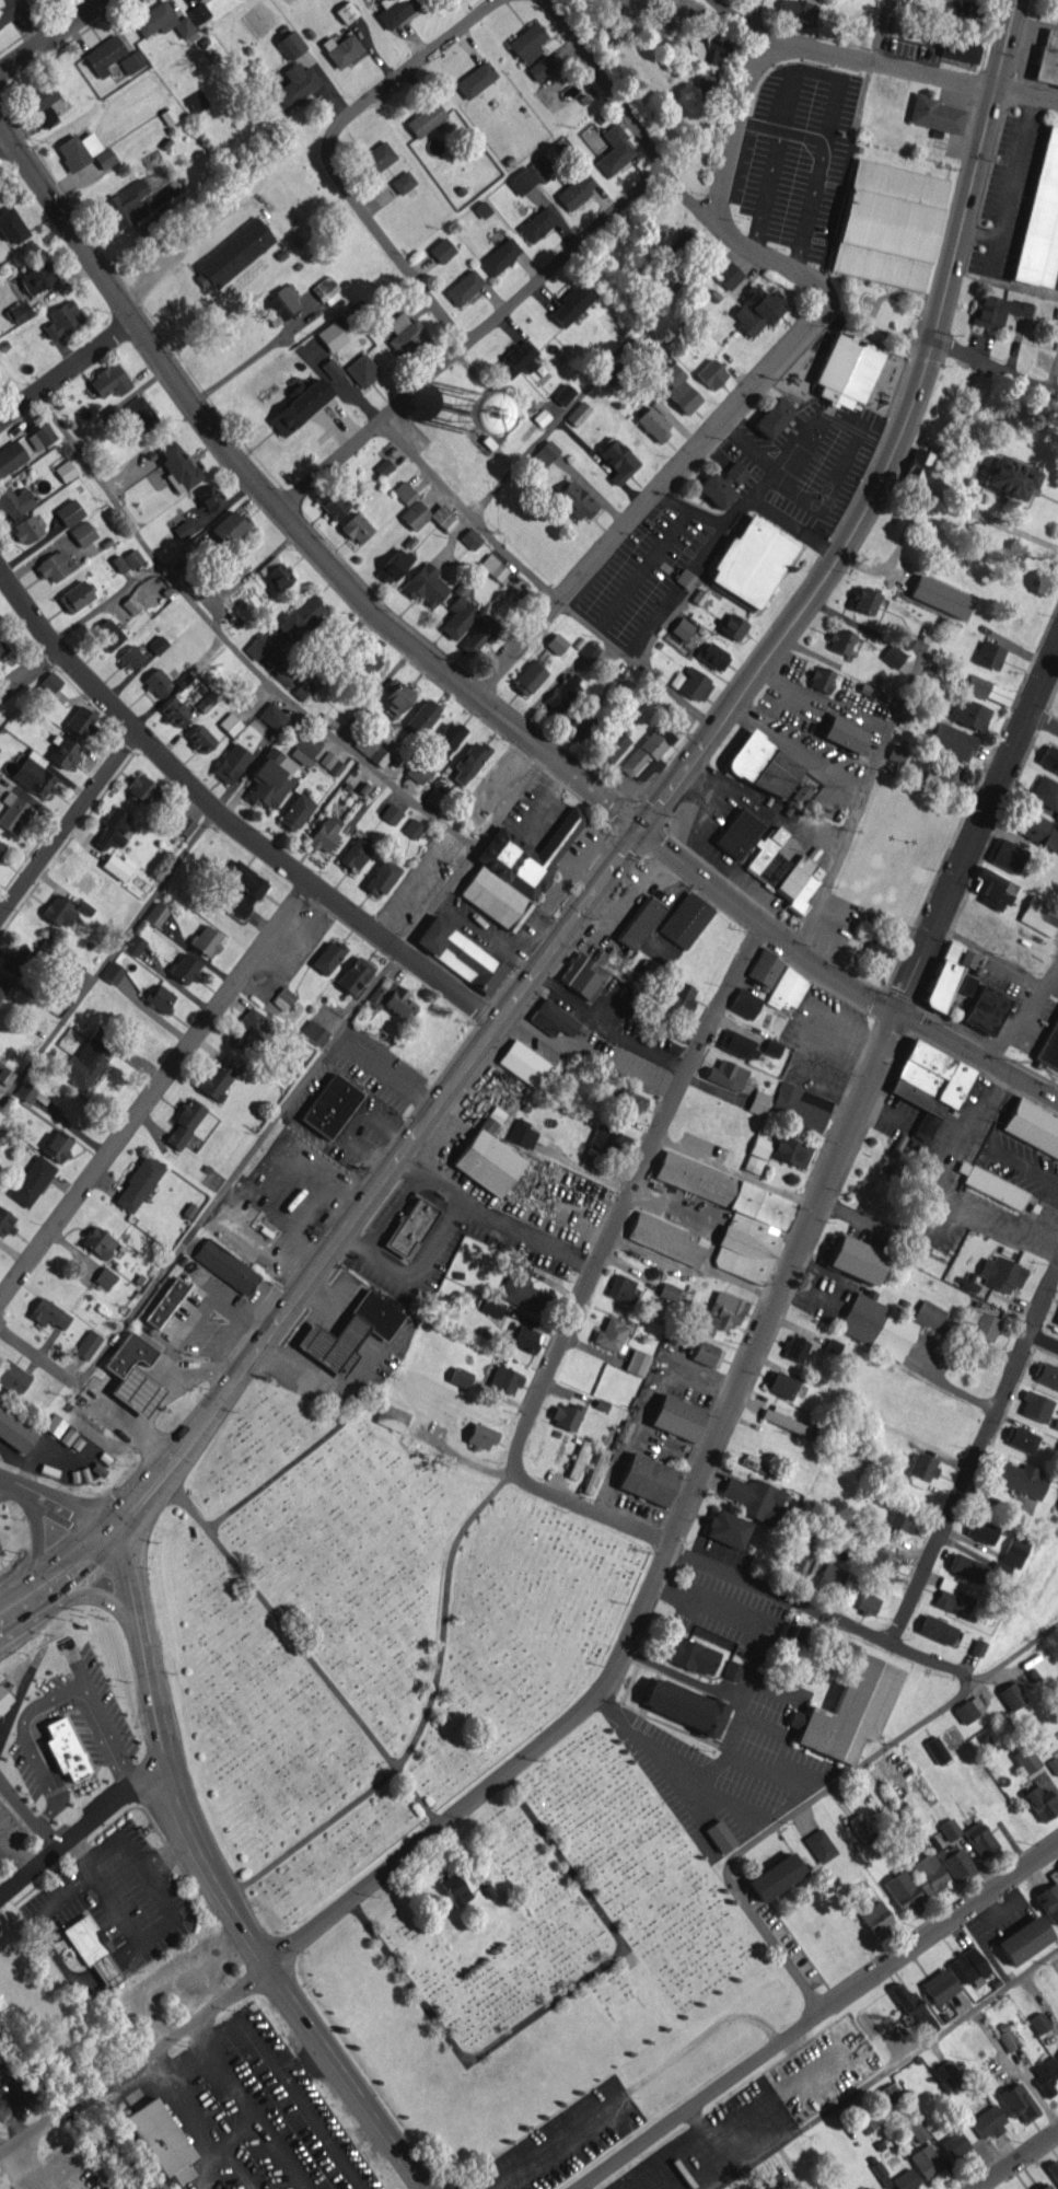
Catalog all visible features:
building: (11, 9)
building: (969, 9)
building: (346, 11)
building: (395, 11)
building: (798, 11)
building: (198, 12)
road: (732, 14)
building: (161, 20)
building: (865, 24)
road: (879, 28)
road: (49, 34)
building: (526, 43)
building: (290, 44)
building: (341, 49)
building: (960, 49)
building: (708, 50)
building: (104, 55)
building: (1047, 58)
building: (131, 61)
road: (905, 66)
building: (540, 67)
building: (475, 79)
building: (705, 82)
building: (297, 84)
building: (43, 95)
road: (733, 109)
building: (935, 113)
building: (48, 117)
building: (425, 118)
road: (755, 124)
road: (2, 135)
road: (806, 136)
building: (78, 149)
building: (615, 149)
road: (323, 152)
building: (104, 158)
building: (376, 158)
road: (666, 167)
building: (531, 174)
building: (403, 182)
building: (577, 187)
building: (124, 206)
building: (1040, 219)
building: (537, 223)
building: (888, 224)
building: (12, 225)
building: (683, 243)
road: (177, 250)
building: (441, 250)
building: (233, 253)
building: (500, 255)
building: (724, 271)
building: (37, 278)
building: (464, 287)
building: (324, 288)
building: (571, 303)
building: (279, 305)
building: (756, 309)
building: (996, 310)
building: (20, 312)
building: (62, 320)
building: (404, 333)
building: (330, 336)
road: (472, 337)
building: (519, 359)
building: (656, 360)
building: (332, 367)
road: (993, 367)
road: (1053, 369)
building: (361, 370)
building: (846, 370)
road: (66, 371)
building: (711, 373)
road: (597, 374)
building: (109, 380)
building: (678, 389)
building: (563, 393)
building: (300, 406)
building: (468, 412)
building: (139, 413)
building: (578, 413)
building: (772, 417)
building: (653, 419)
building: (40, 436)
road: (893, 443)
building: (545, 453)
building: (10, 456)
building: (617, 460)
building: (178, 465)
building: (383, 466)
building: (65, 471)
building: (1010, 477)
building: (721, 484)
building: (404, 491)
building: (209, 497)
road: (653, 498)
building: (573, 500)
building: (14, 501)
building: (330, 501)
building: (69, 511)
road: (465, 512)
building: (415, 514)
building: (229, 526)
building: (354, 528)
building: (26, 529)
building: (183, 529)
building: (82, 533)
building: (469, 537)
building: (132, 557)
building: (751, 561)
building: (119, 563)
building: (393, 565)
building: (51, 566)
building: (493, 566)
building: (277, 576)
building: (426, 584)
building: (197, 587)
building: (940, 595)
building: (74, 597)
building: (864, 600)
building: (456, 616)
road: (391, 625)
building: (732, 626)
building: (287, 627)
building: (682, 628)
building: (107, 634)
building: (480, 634)
building: (840, 640)
building: (556, 642)
building: (158, 645)
road: (232, 646)
building: (2, 647)
building: (988, 655)
building: (713, 656)
building: (893, 656)
building: (129, 658)
road: (640, 661)
building: (364, 663)
road: (32, 670)
building: (528, 677)
building: (821, 677)
building: (158, 681)
building: (50, 682)
building: (691, 683)
building: (980, 686)
building: (300, 692)
building: (562, 695)
building: (395, 697)
building: (207, 700)
road: (821, 700)
building: (174, 711)
building: (968, 713)
building: (272, 715)
building: (421, 717)
building: (81, 721)
building: (230, 723)
building: (583, 723)
road: (1040, 728)
building: (842, 732)
building: (446, 737)
building: (200, 738)
building: (952, 741)
building: (612, 745)
building: (374, 748)
road: (797, 748)
building: (304, 749)
building: (650, 749)
building: (63, 752)
building: (896, 752)
building: (1049, 757)
building: (468, 761)
building: (231, 763)
building: (330, 763)
building: (763, 765)
building: (418, 771)
building: (0, 773)
building: (34, 774)
building: (270, 778)
building: (951, 778)
building: (141, 787)
building: (1045, 791)
road: (860, 798)
road: (764, 807)
building: (295, 811)
building: (14, 812)
building: (391, 813)
building: (1056, 814)
road: (218, 819)
road: (67, 824)
building: (184, 824)
traffic signals: (638, 825)
road: (976, 826)
building: (113, 827)
building: (412, 827)
building: (1038, 830)
building: (737, 833)
building: (324, 834)
building: (1, 846)
building: (354, 854)
building: (1008, 855)
building: (117, 866)
building: (516, 869)
building: (784, 870)
building: (381, 877)
building: (244, 885)
building: (993, 888)
building: (60, 911)
building: (155, 913)
building: (1039, 915)
building: (685, 920)
building: (639, 922)
building: (206, 939)
building: (133, 943)
building: (874, 947)
road: (105, 953)
building: (460, 954)
building: (328, 955)
building: (966, 958)
building: (14, 961)
road: (1057, 961)
building: (765, 966)
building: (185, 968)
building: (70, 971)
building: (113, 972)
building: (354, 975)
building: (583, 975)
building: (946, 977)
building: (3, 985)
building: (787, 988)
building: (159, 997)
building: (282, 997)
building: (391, 997)
building: (678, 998)
building: (744, 1003)
building: (986, 1009)
road: (1020, 1010)
building: (553, 1018)
building: (245, 1028)
building: (314, 1032)
building: (737, 1044)
building: (1049, 1046)
building: (771, 1047)
building: (88, 1058)
road: (976, 1058)
building: (522, 1062)
building: (231, 1066)
road: (312, 1068)
building: (5, 1075)
building: (726, 1075)
building: (212, 1081)
building: (929, 1084)
building: (25, 1090)
road: (153, 1091)
building: (630, 1100)
building: (758, 1102)
building: (330, 1105)
building: (800, 1107)
building: (184, 1123)
building: (1033, 1125)
building: (522, 1133)
building: (609, 1137)
building: (57, 1145)
building: (790, 1150)
building: (756, 1154)
building: (488, 1162)
building: (894, 1171)
road: (372, 1173)
building: (32, 1180)
building: (138, 1183)
road: (941, 1185)
building: (991, 1185)
road: (625, 1194)
road: (391, 1211)
building: (734, 1214)
road: (689, 1215)
road: (498, 1221)
building: (5, 1223)
building: (411, 1226)
building: (666, 1238)
building: (98, 1241)
building: (854, 1258)
building: (225, 1265)
road: (688, 1269)
building: (1001, 1273)
building: (104, 1277)
building: (523, 1288)
building: (624, 1288)
building: (667, 1290)
building: (164, 1302)
building: (491, 1308)
building: (722, 1312)
building: (48, 1313)
building: (928, 1314)
building: (877, 1325)
building: (986, 1325)
building: (349, 1332)
building: (611, 1334)
building: (522, 1337)
road: (1043, 1337)
building: (86, 1344)
building: (833, 1345)
building: (795, 1347)
building: (704, 1352)
building: (637, 1362)
building: (1045, 1374)
building: (133, 1375)
building: (460, 1376)
building: (12, 1377)
building: (504, 1379)
building: (780, 1383)
road: (947, 1383)
road: (85, 1389)
building: (1035, 1405)
road: (647, 1406)
building: (566, 1414)
building: (392, 1416)
building: (676, 1416)
building: (782, 1418)
building: (55, 1425)
building: (15, 1432)
building: (479, 1436)
building: (1020, 1437)
road: (974, 1451)
building: (578, 1459)
building: (755, 1463)
building: (922, 1469)
building: (595, 1470)
road: (2, 1479)
building: (647, 1479)
building: (1022, 1479)
building: (754, 1497)
road: (56, 1501)
building: (1057, 1508)
road: (1009, 1509)
building: (898, 1522)
traffic signals: (113, 1526)
building: (726, 1528)
building: (981, 1530)
road: (662, 1549)
building: (1014, 1551)
road: (56, 1562)
building: (880, 1562)
building: (793, 1565)
building: (977, 1568)
building: (830, 1578)
road: (747, 1580)
building: (951, 1597)
building: (867, 1603)
building: (937, 1629)
building: (803, 1640)
building: (977, 1647)
road: (1019, 1653)
building: (690, 1655)
building: (732, 1670)
road: (681, 1676)
building: (1011, 1694)
building: (3, 1700)
road: (37, 1704)
building: (682, 1705)
building: (968, 1709)
building: (848, 1710)
road: (733, 1722)
building: (65, 1748)
building: (937, 1749)
building: (1024, 1759)
building: (1054, 1764)
park: (430, 1770)
building: (1040, 1800)
road: (783, 1825)
road: (82, 1827)
building: (861, 1828)
building: (949, 1828)
building: (719, 1835)
road: (1, 1839)
building: (980, 1839)
building: (819, 1844)
road: (14, 1850)
road: (165, 1851)
building: (956, 1863)
building: (1057, 1865)
building: (928, 1873)
building: (775, 1876)
road: (214, 1883)
building: (454, 1889)
building: (903, 1891)
building: (1049, 1901)
building: (876, 1919)
road: (160, 1921)
building: (1024, 1939)
building: (92, 1948)
building: (968, 1966)
building: (939, 1985)
building: (912, 2007)
road: (821, 2017)
building: (1038, 2023)
building: (1008, 2039)
building: (1057, 2054)
road: (135, 2059)
building: (0, 2065)
road: (887, 2069)
building: (946, 2069)
building: (1045, 2075)
building: (887, 2093)
building: (1018, 2101)
road: (252, 2104)
road: (187, 2109)
building: (988, 2121)
building: (868, 2122)
building: (917, 2131)
building: (159, 2135)
building: (957, 2141)
road: (229, 2144)
road: (1019, 2161)
building: (926, 2162)
road: (34, 2164)
building: (1054, 2169)
building: (905, 2179)
building: (775, 2181)
building: (1043, 2186)
building: (872, 2187)

